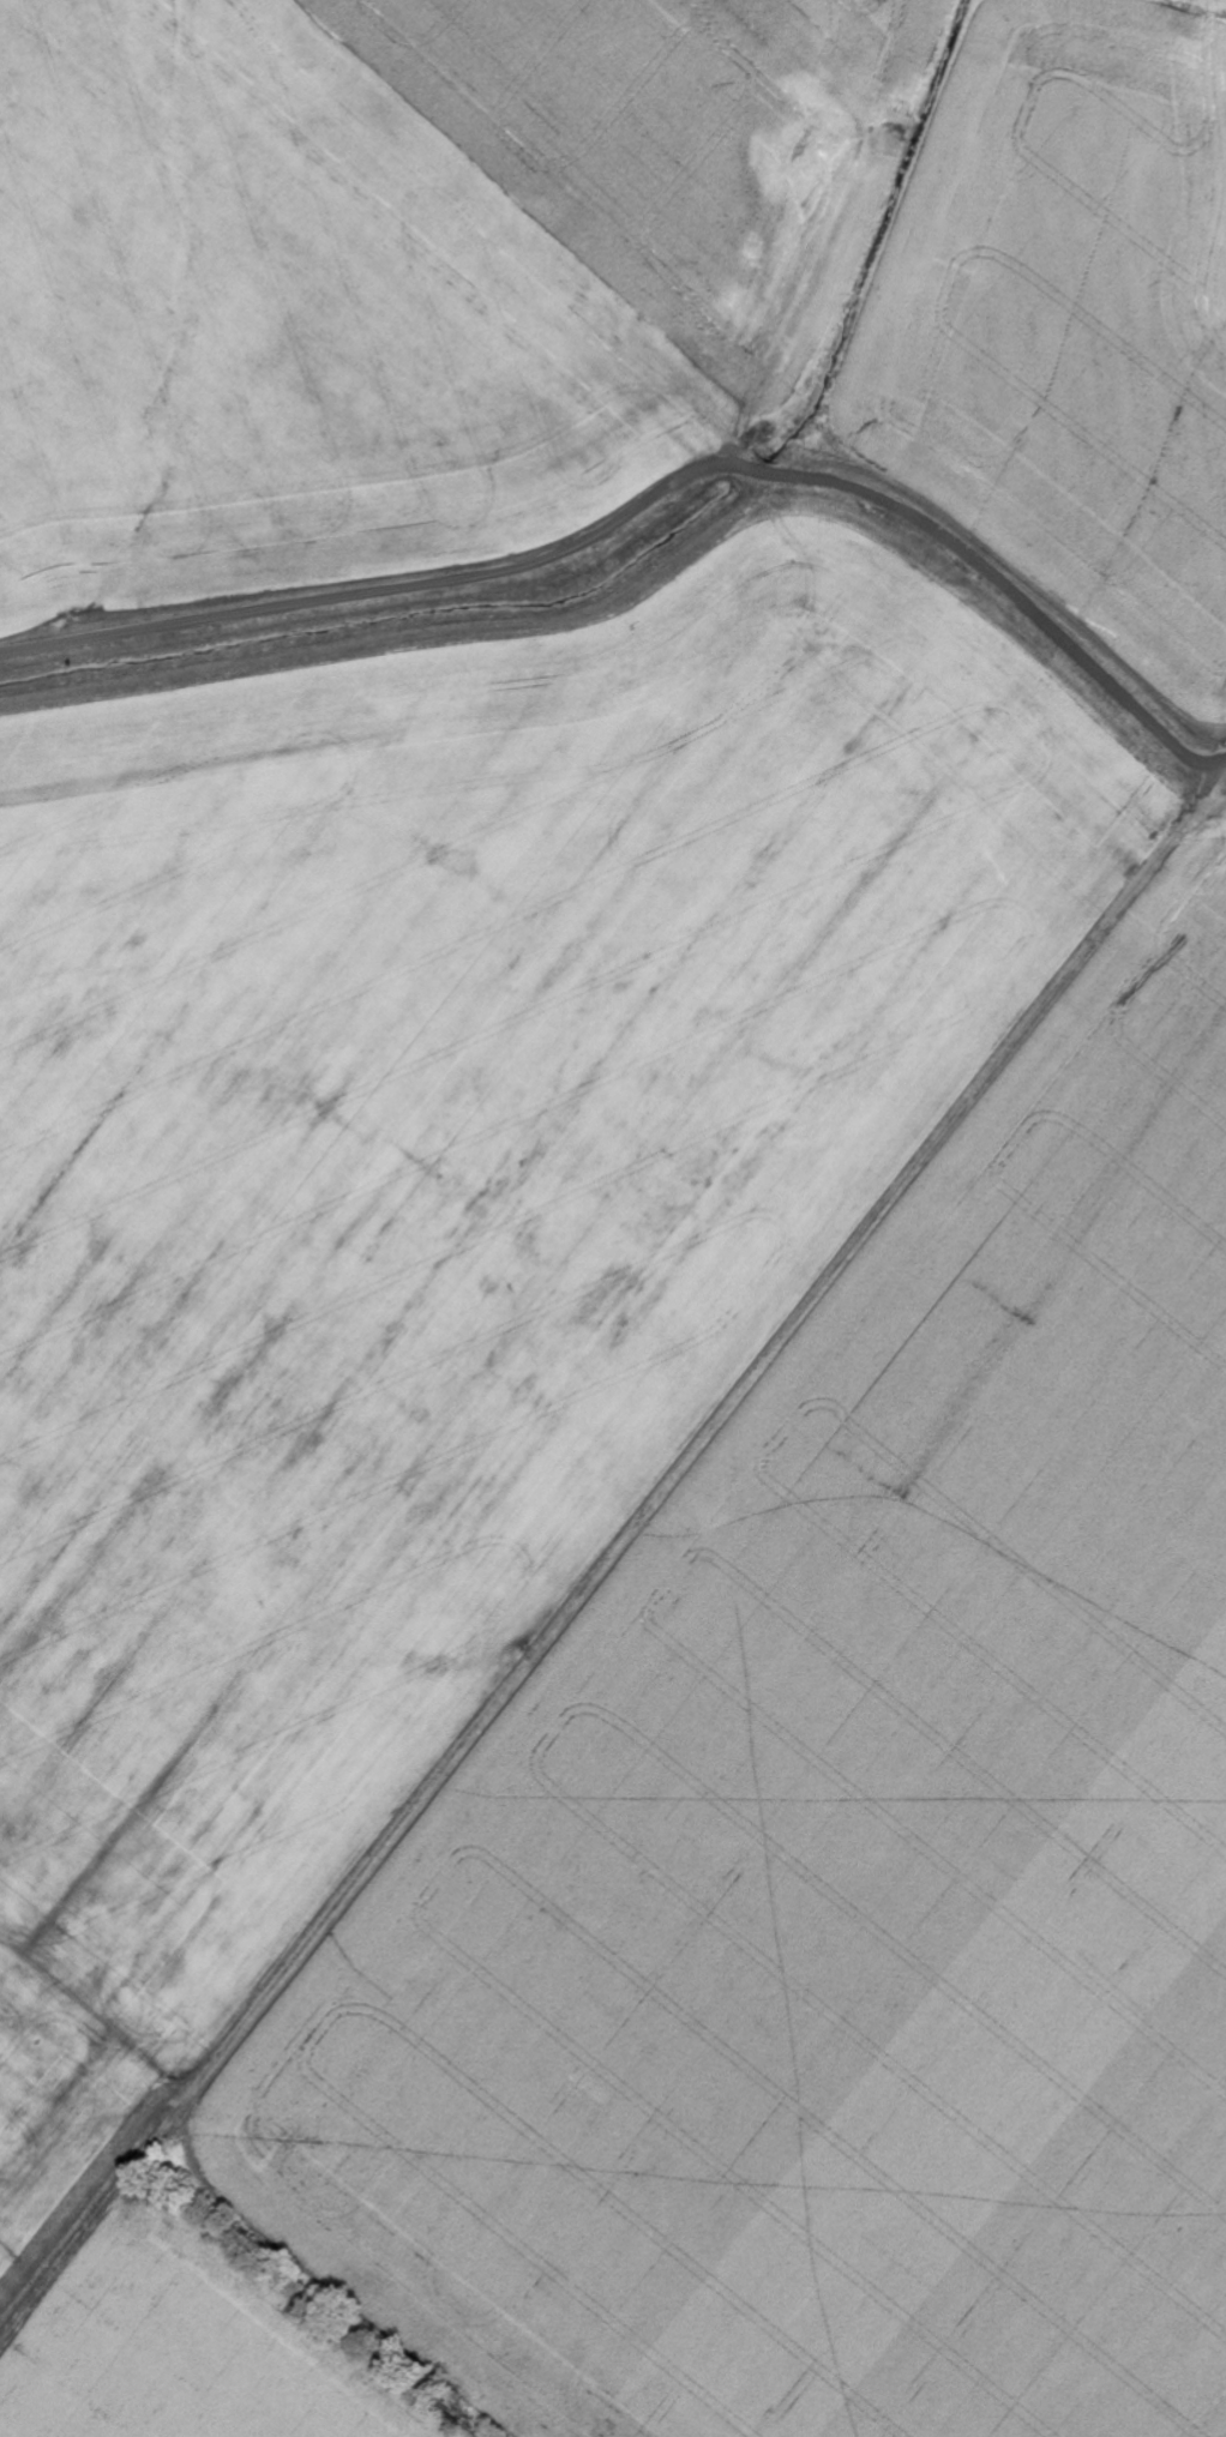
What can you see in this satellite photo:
road: (653, 497)
road: (601, 1551)

